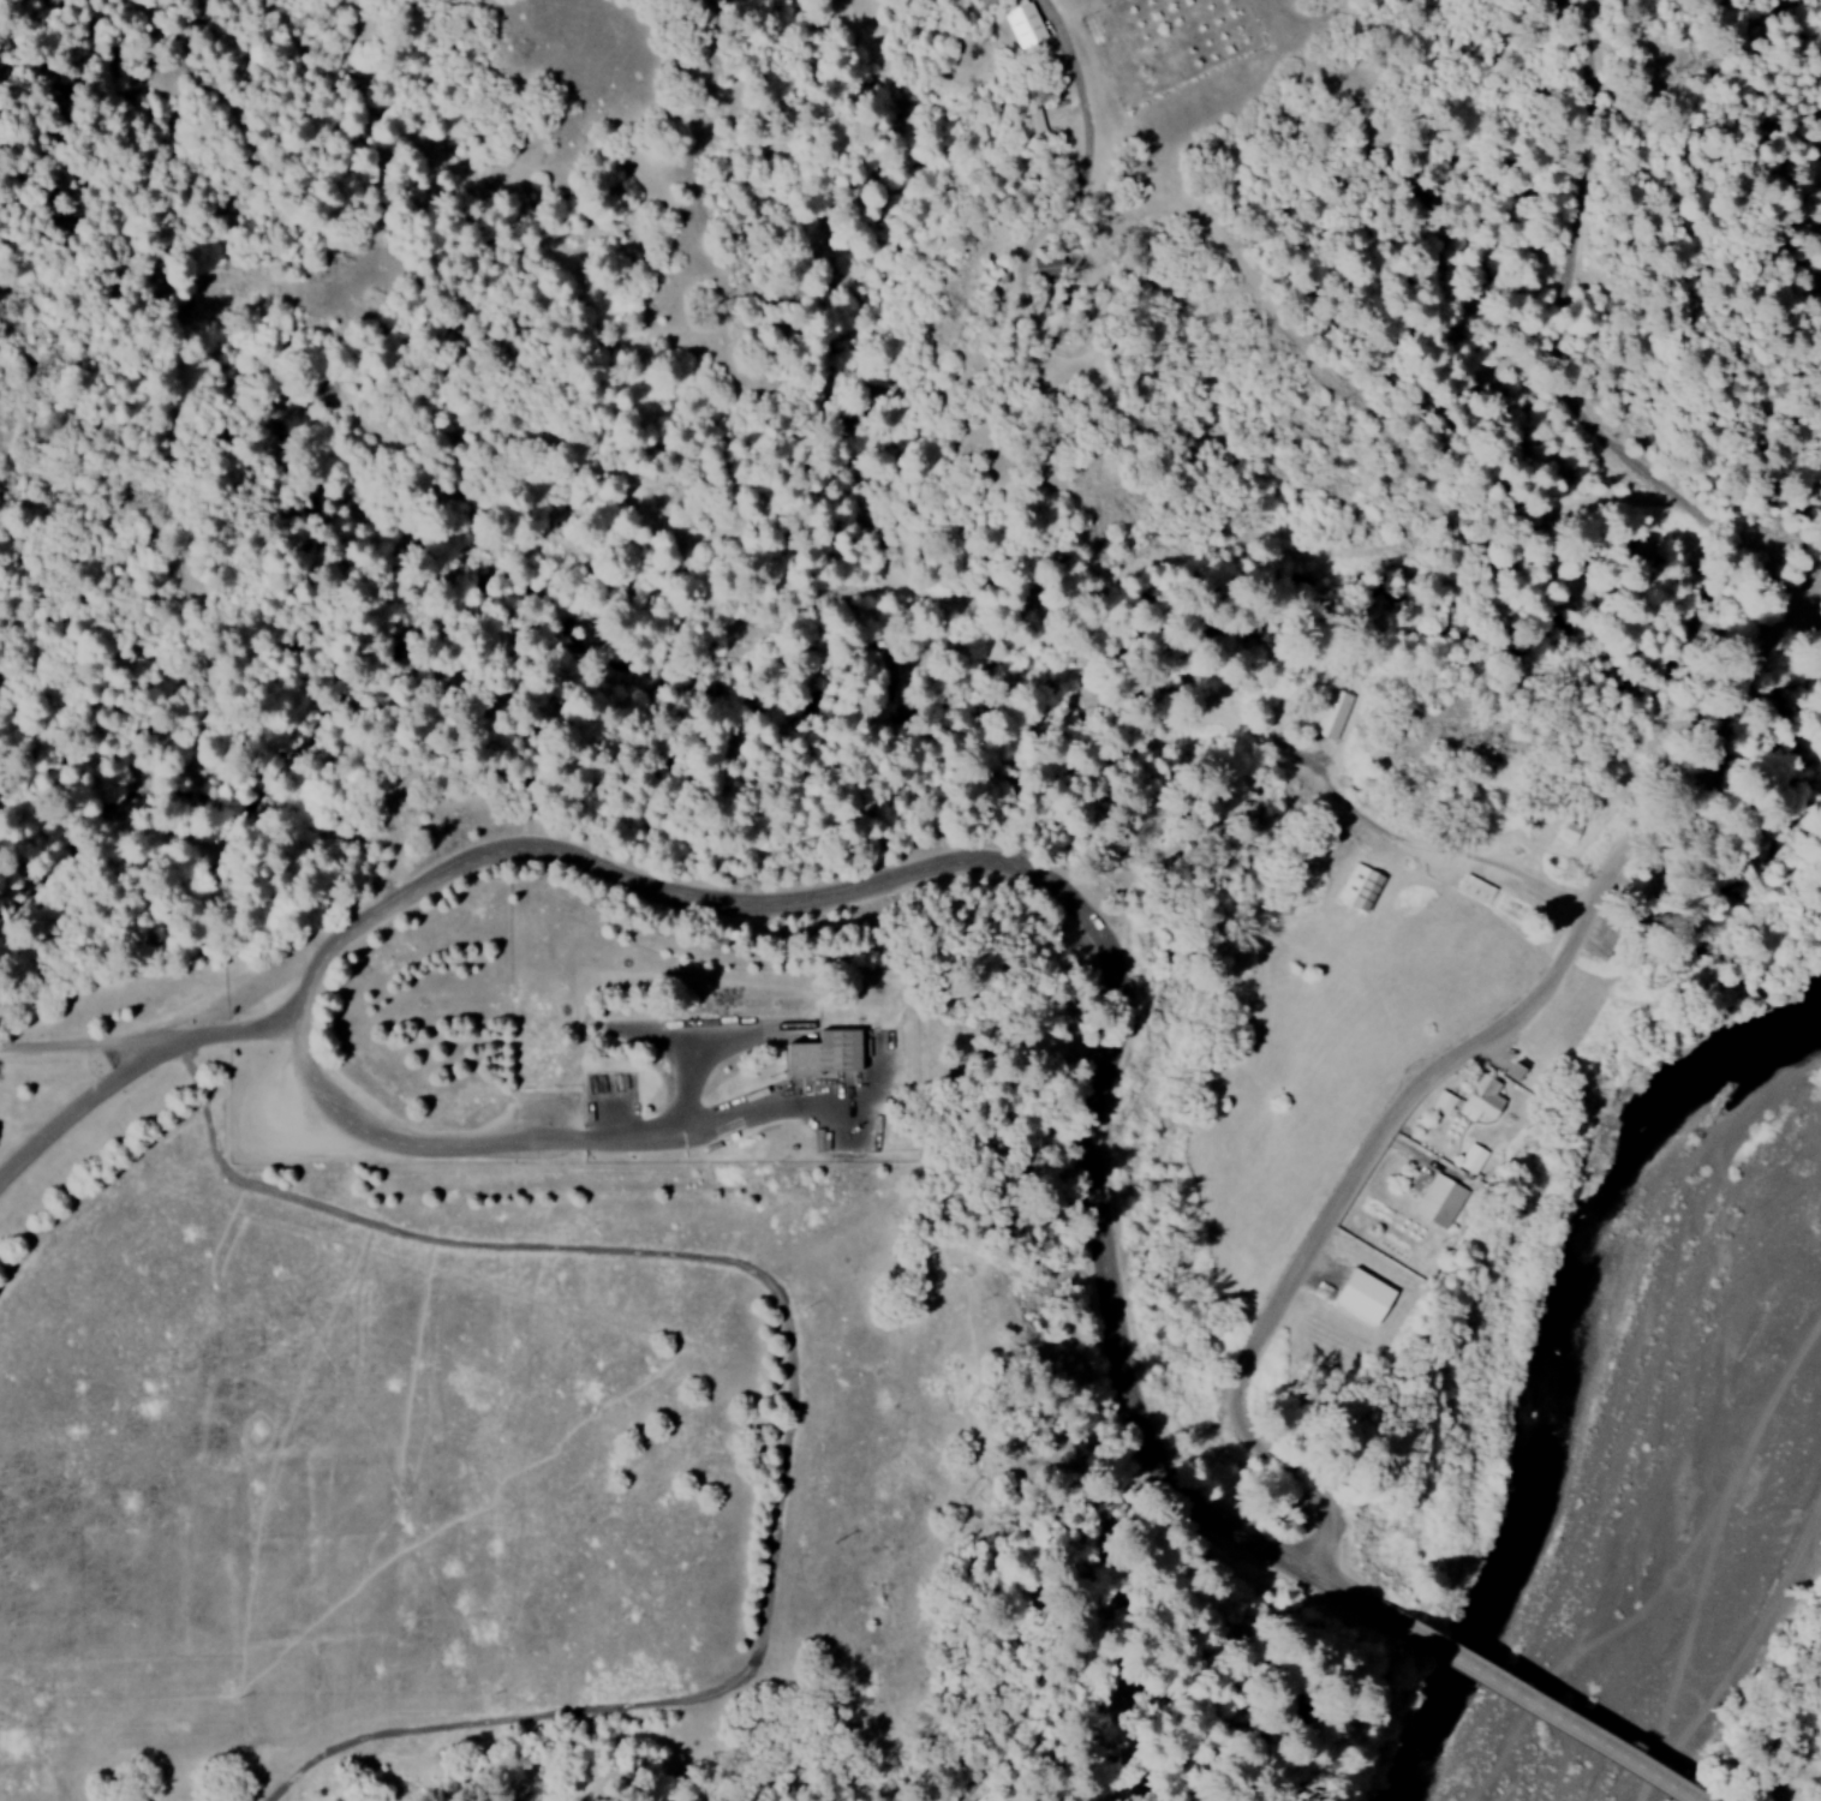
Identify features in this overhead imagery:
building: (1021, 23)
building: (1033, 120)
road: (1574, 340)
road: (1354, 704)
building: (1333, 714)
road: (1682, 714)
building: (1359, 887)
building: (1474, 888)
road: (1112, 950)
building: (820, 1053)
building: (1477, 1097)
building: (1440, 1102)
road: (435, 1153)
building: (1470, 1159)
road: (62, 1172)
building: (1437, 1201)
road: (1321, 1222)
building: (1360, 1296)
river: (1648, 1473)
road: (1805, 1784)

